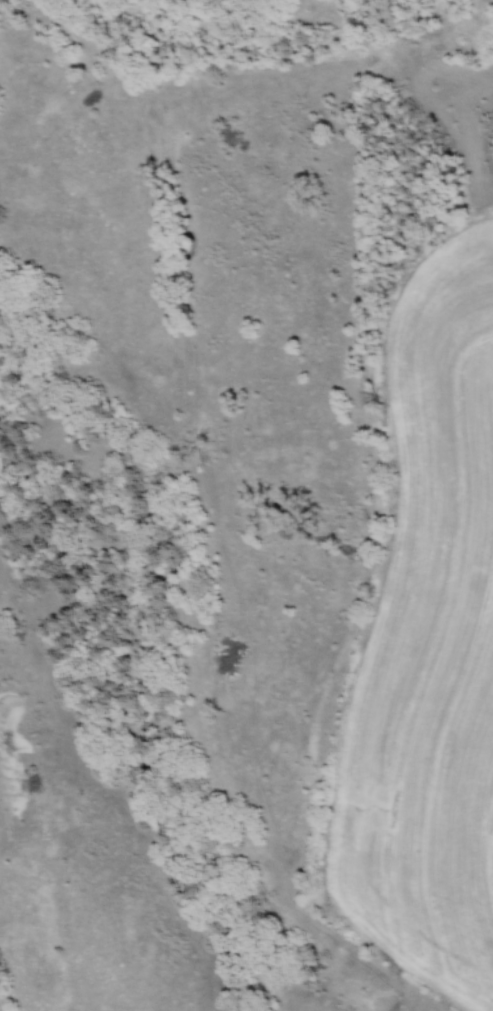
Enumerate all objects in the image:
crop: (430, 650)

